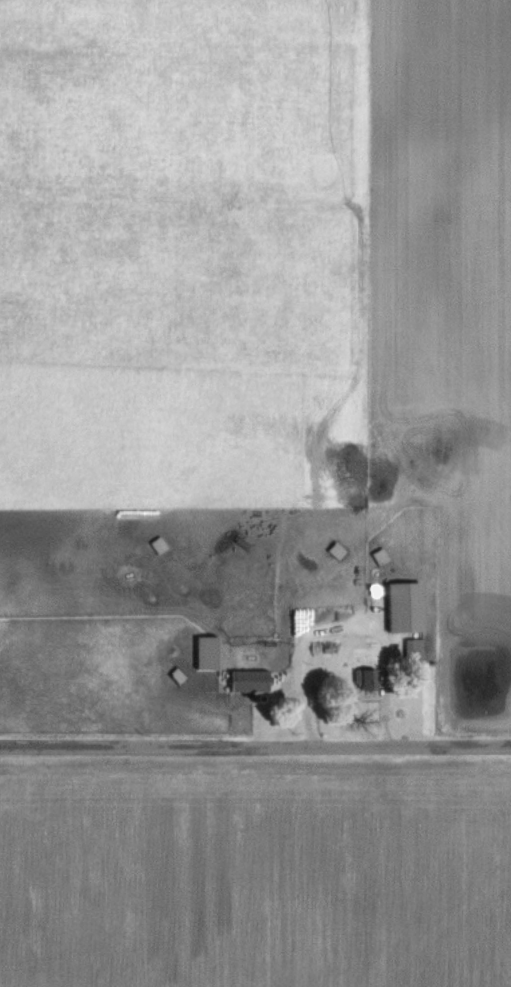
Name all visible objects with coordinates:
building: (232, 542)
building: (382, 556)
building: (416, 651)
building: (370, 679)
building: (251, 681)
road: (255, 747)

